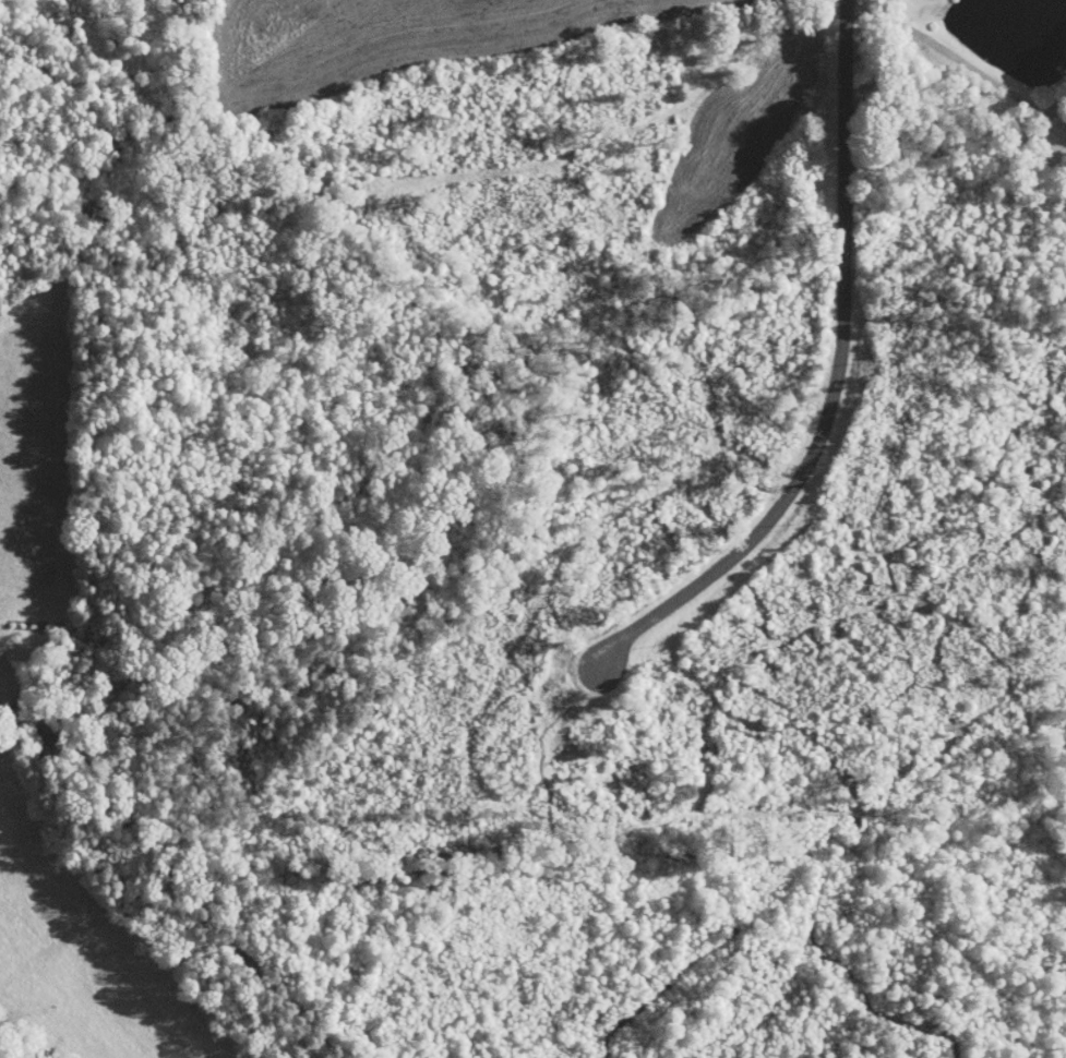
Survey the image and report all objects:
road: (966, 55)
road: (838, 370)

